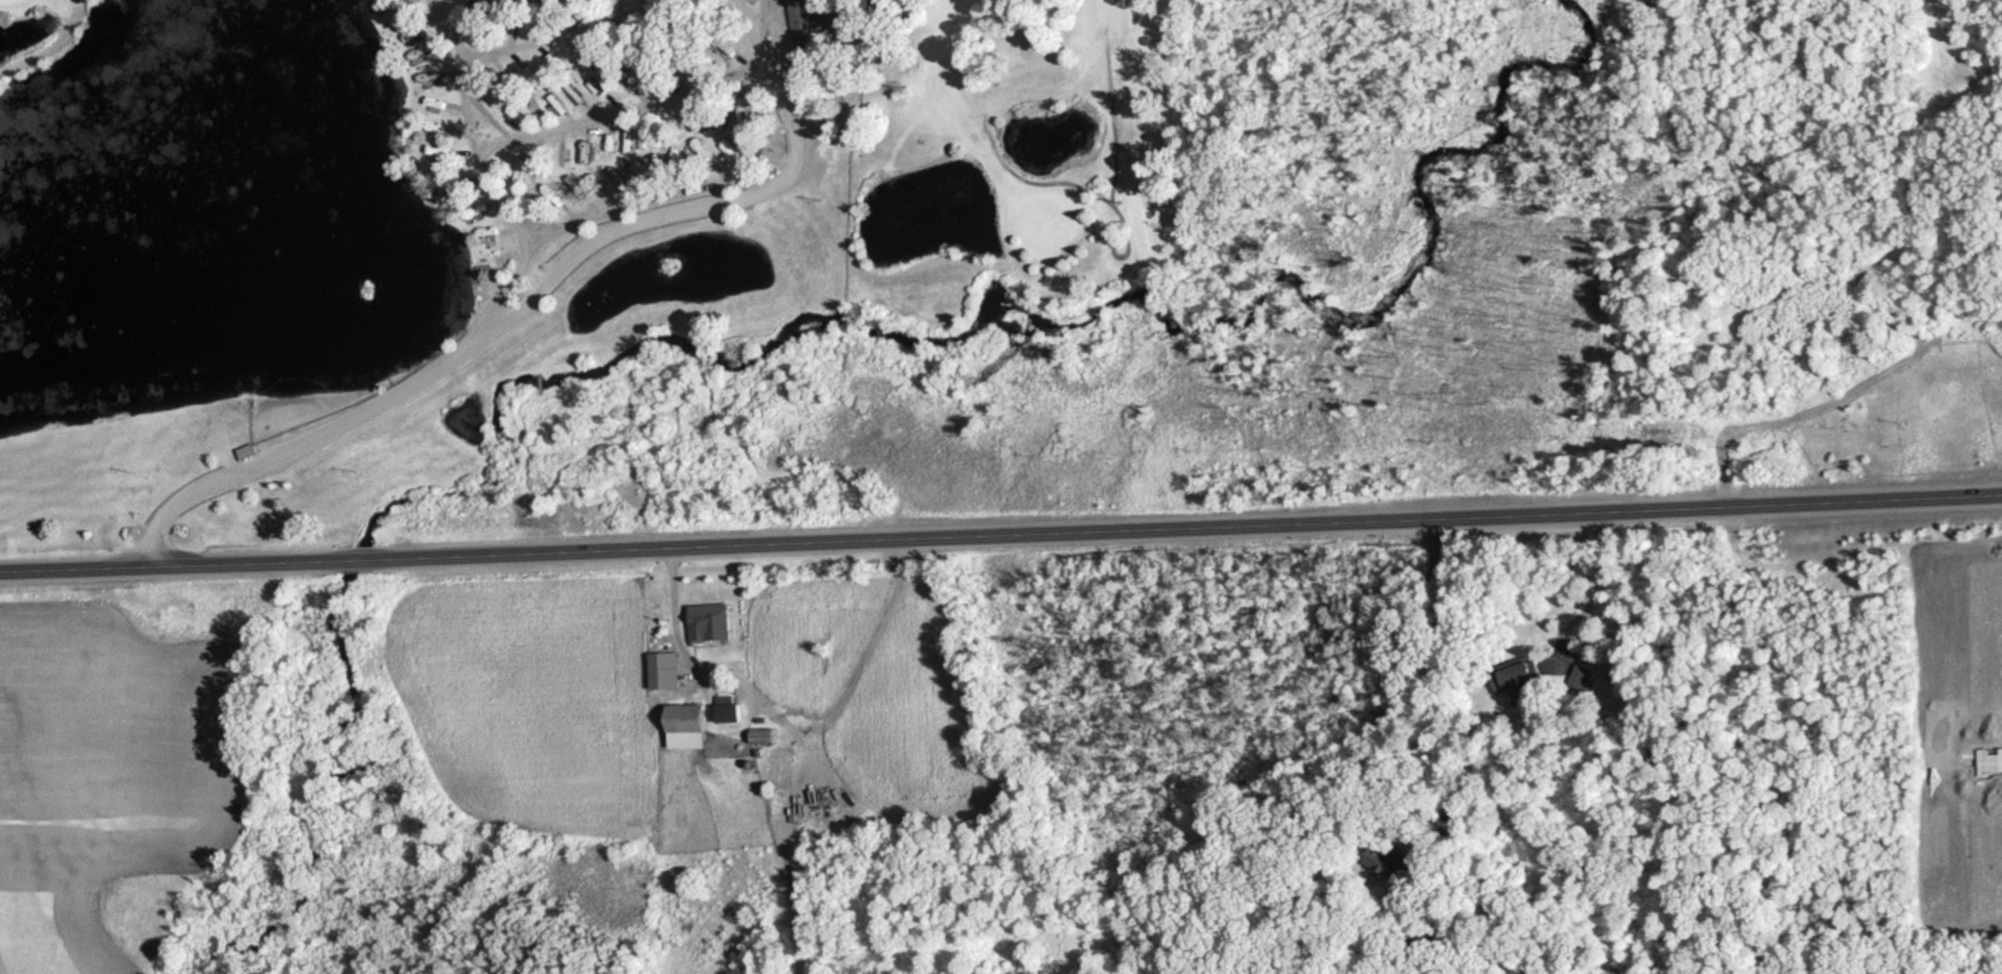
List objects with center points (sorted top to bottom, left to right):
building: (803, 23)
park: (586, 259)
road: (529, 301)
building: (249, 450)
road: (1001, 529)
building: (712, 621)
building: (666, 670)
building: (733, 713)
building: (692, 726)
building: (766, 736)
building: (1369, 869)

